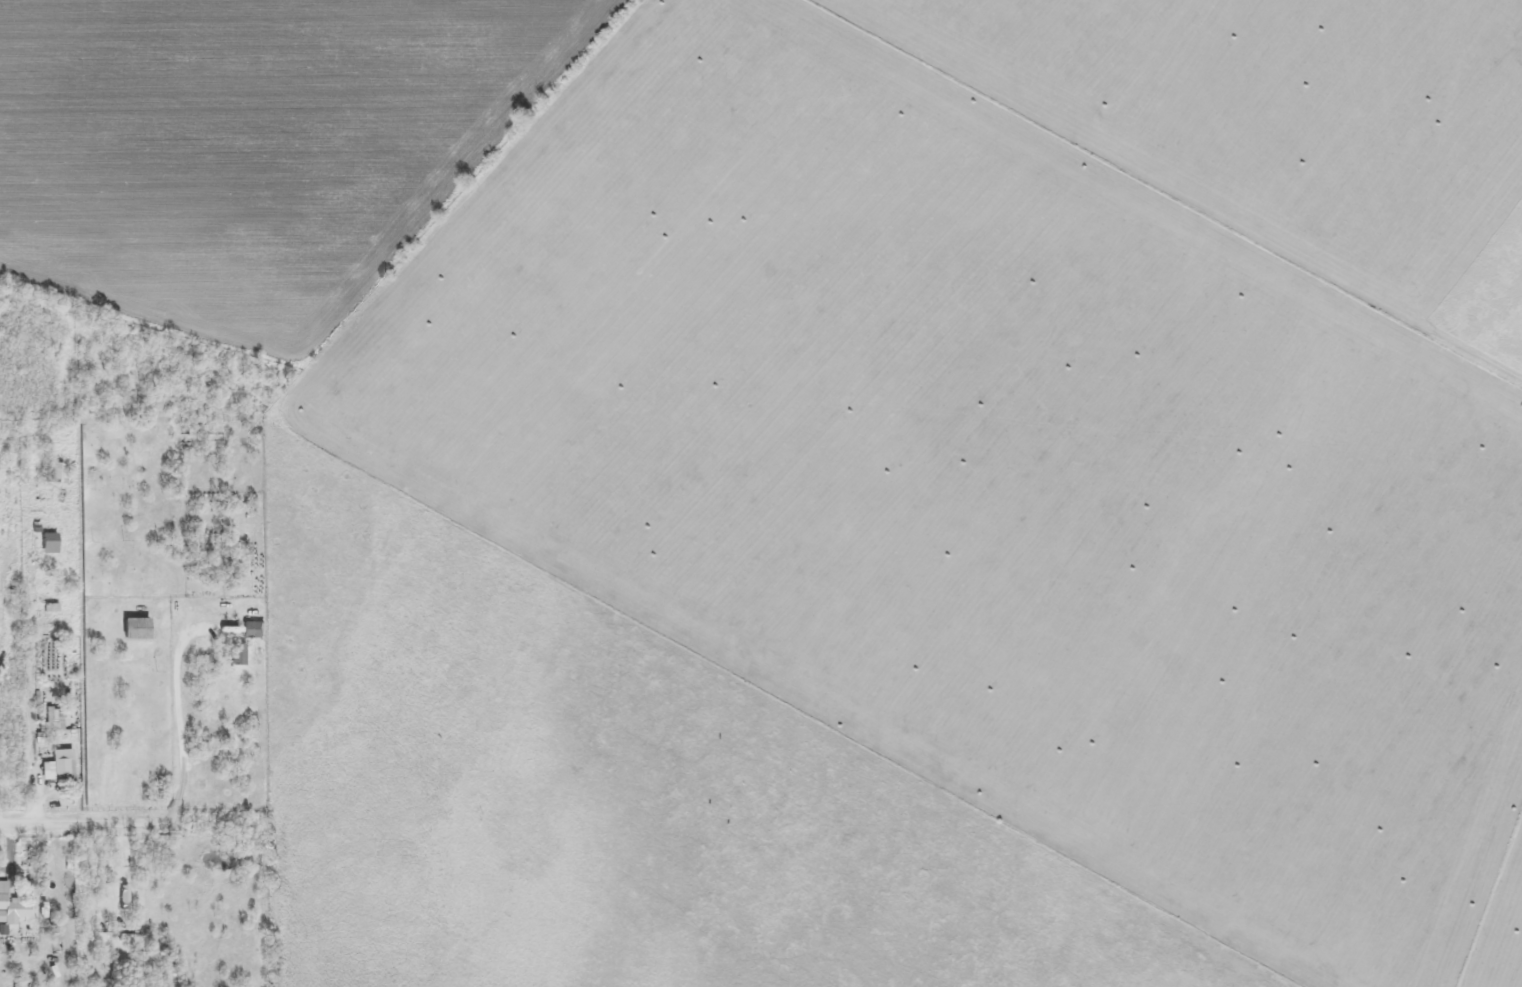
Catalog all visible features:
road: (442, 536)
building: (49, 543)
building: (136, 628)
building: (254, 630)
building: (238, 654)
building: (43, 703)
building: (59, 766)
road: (529, 792)
building: (12, 907)

